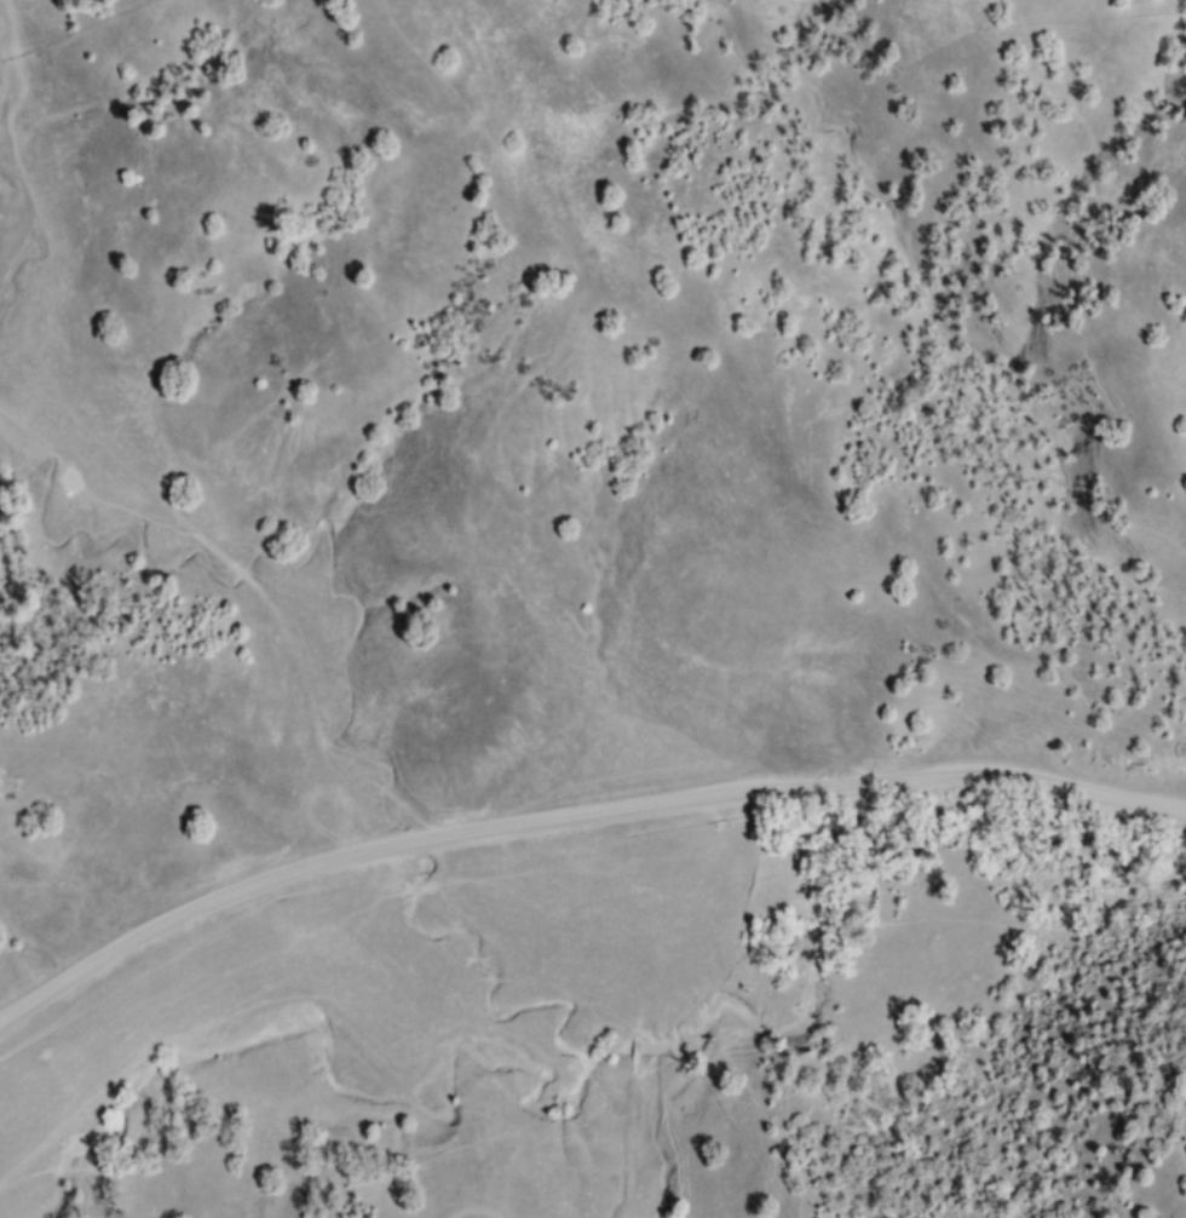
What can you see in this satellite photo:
road: (571, 816)

